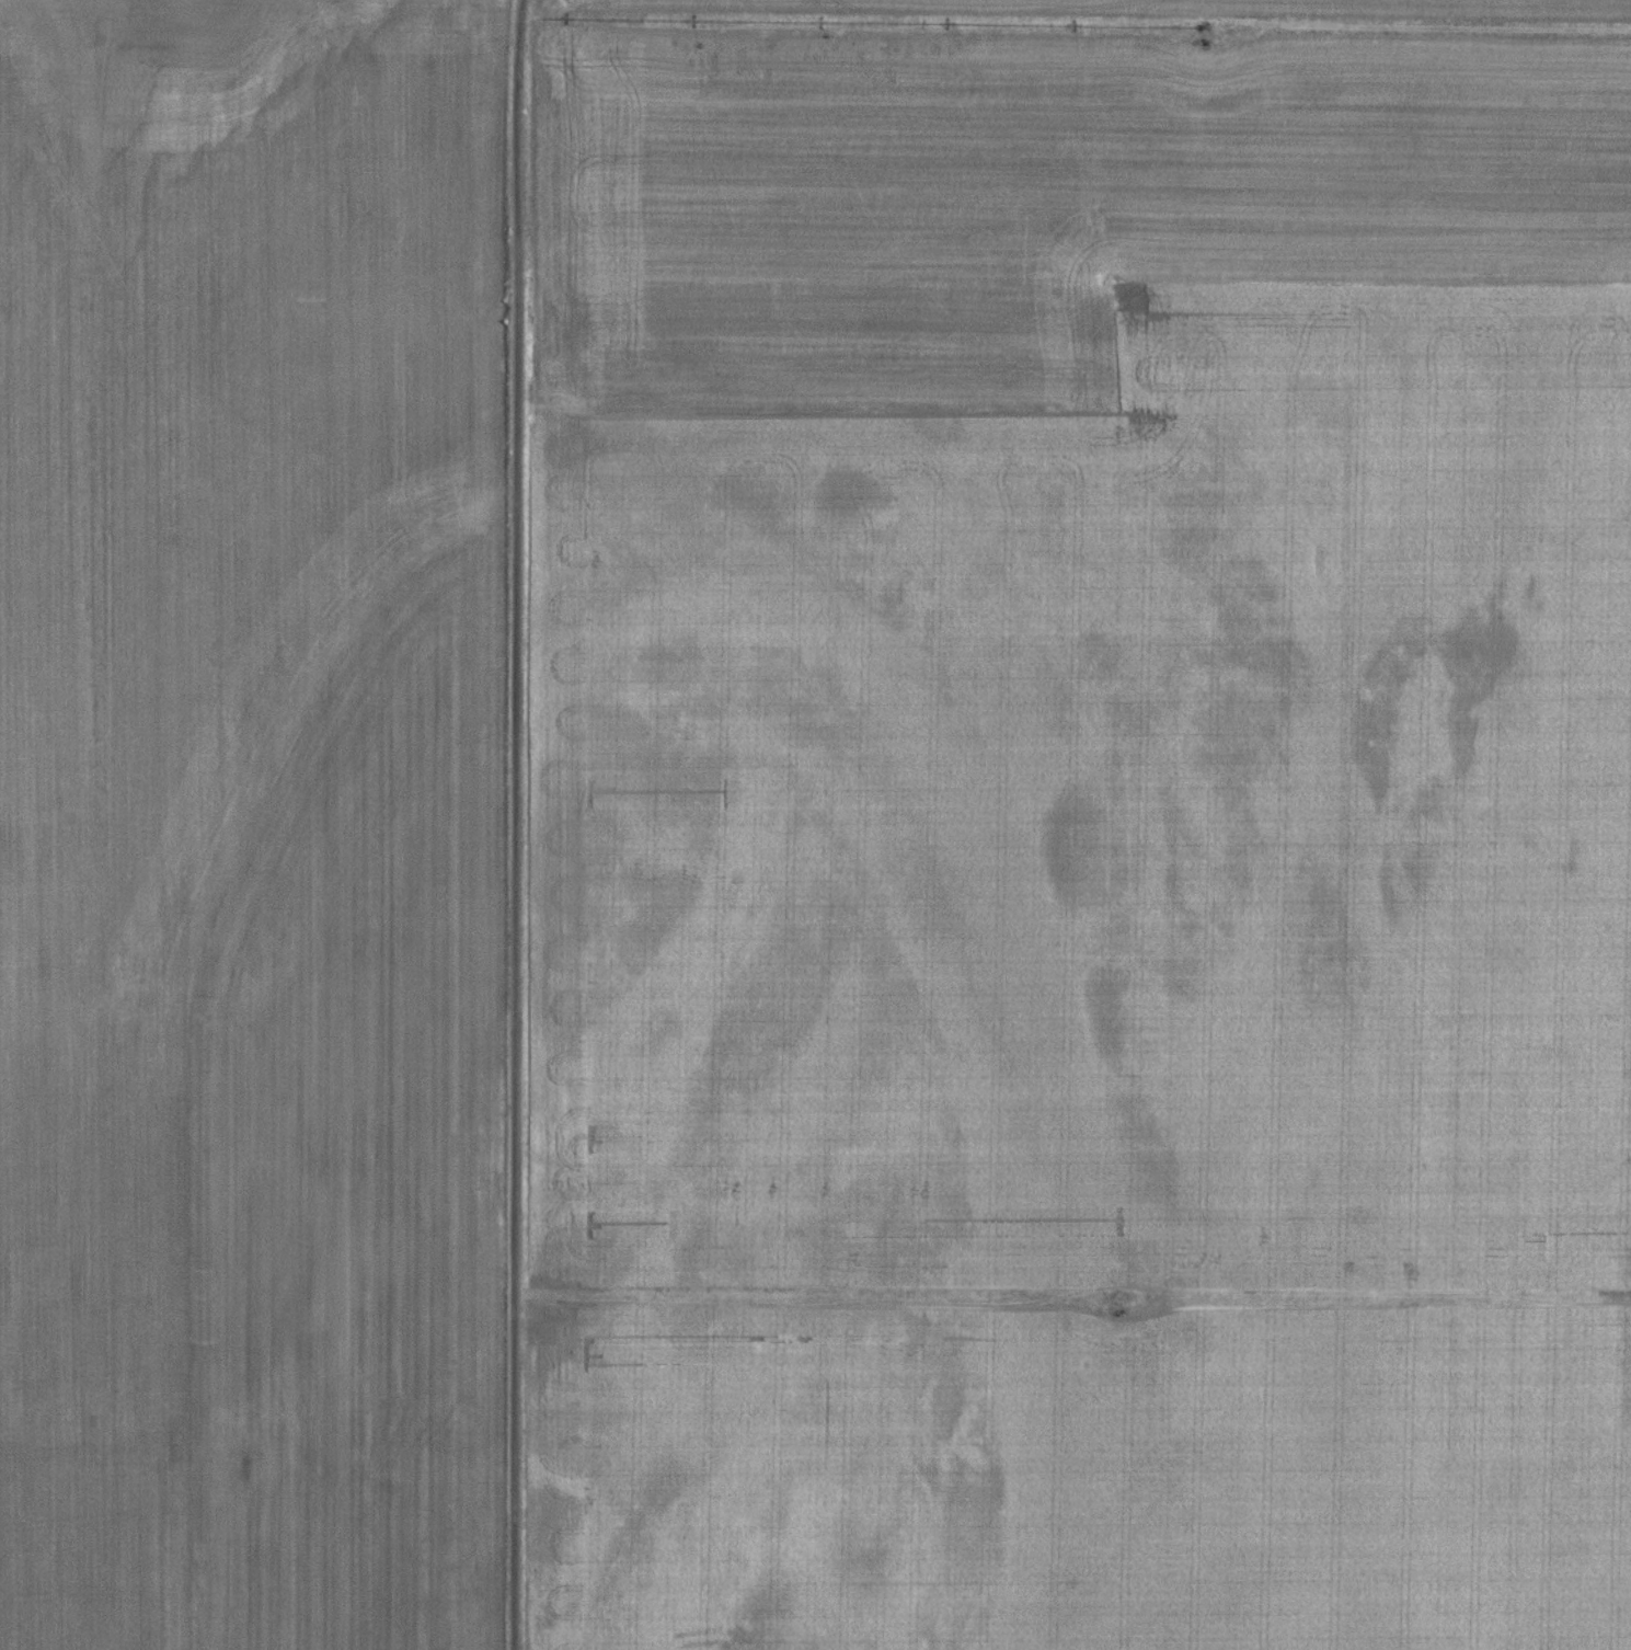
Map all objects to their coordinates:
road: (1076, 27)
road: (516, 824)
road: (1072, 1305)

